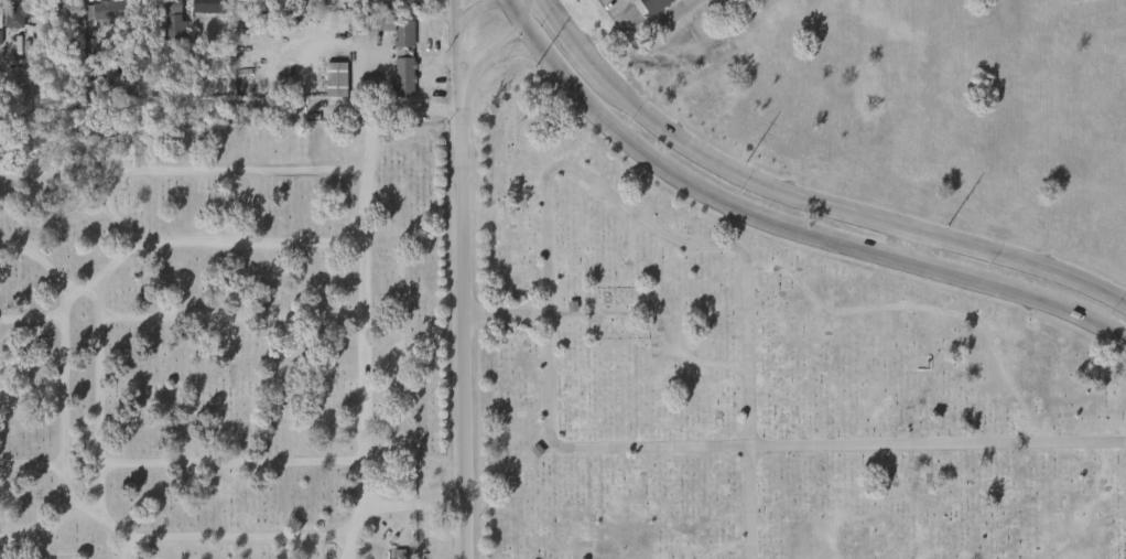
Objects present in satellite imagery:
road: (548, 4)
building: (656, 4)
building: (213, 6)
building: (110, 9)
road: (474, 11)
building: (169, 19)
building: (96, 20)
road: (653, 22)
building: (8, 29)
road: (575, 44)
road: (499, 45)
road: (455, 46)
road: (517, 51)
building: (404, 52)
road: (466, 57)
building: (336, 78)
building: (329, 89)
road: (852, 214)
road: (780, 226)
road: (916, 248)
road: (469, 325)
park: (486, 357)
building: (394, 558)

